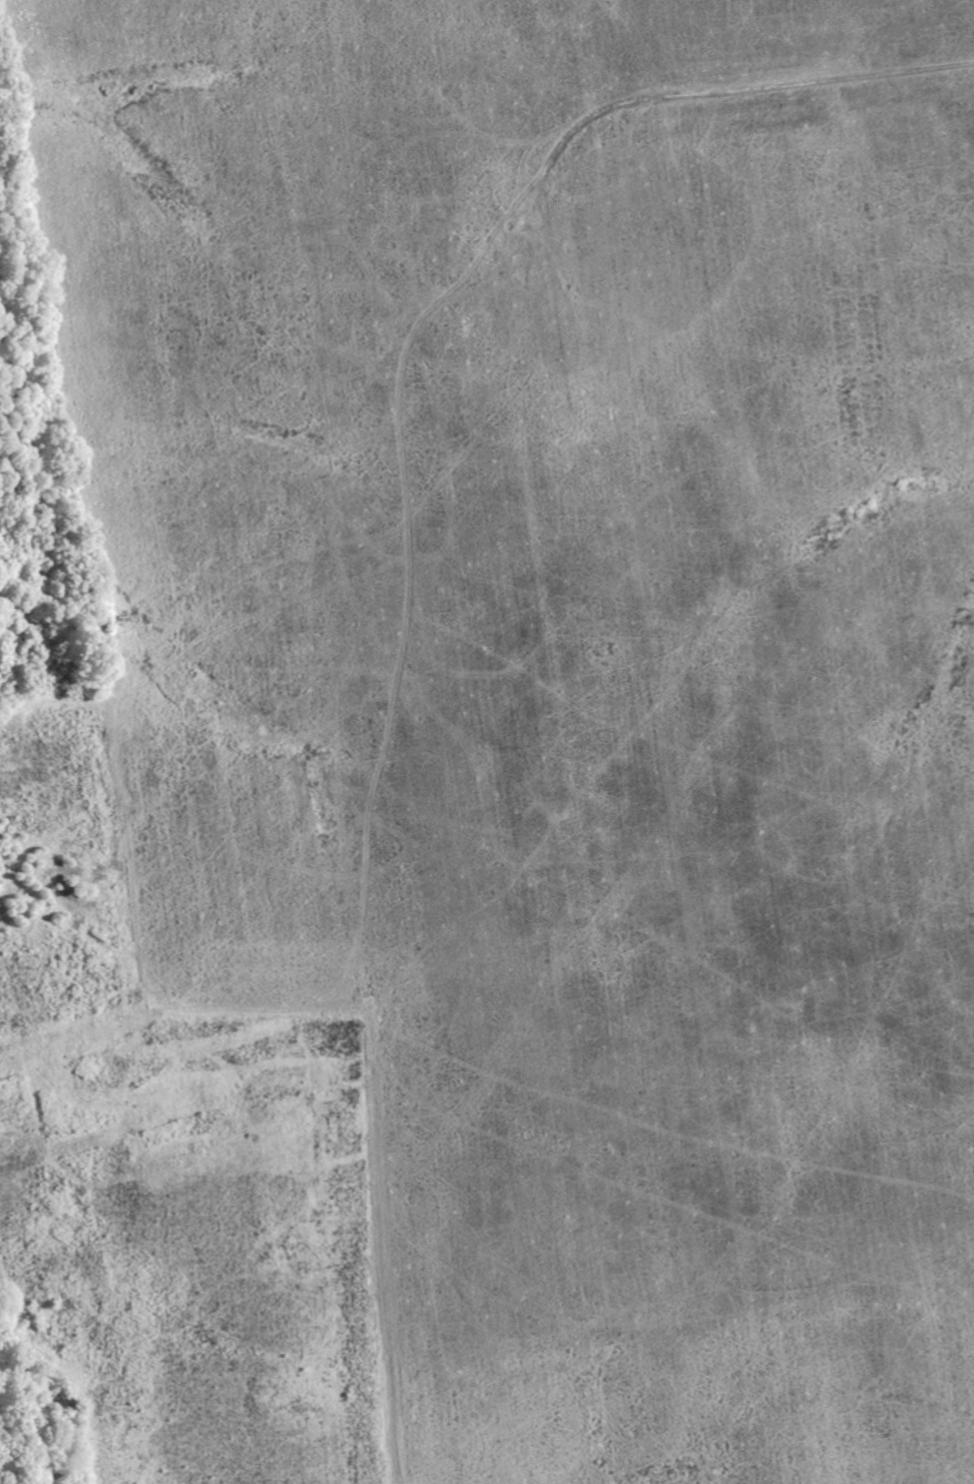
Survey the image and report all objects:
road: (695, 79)

